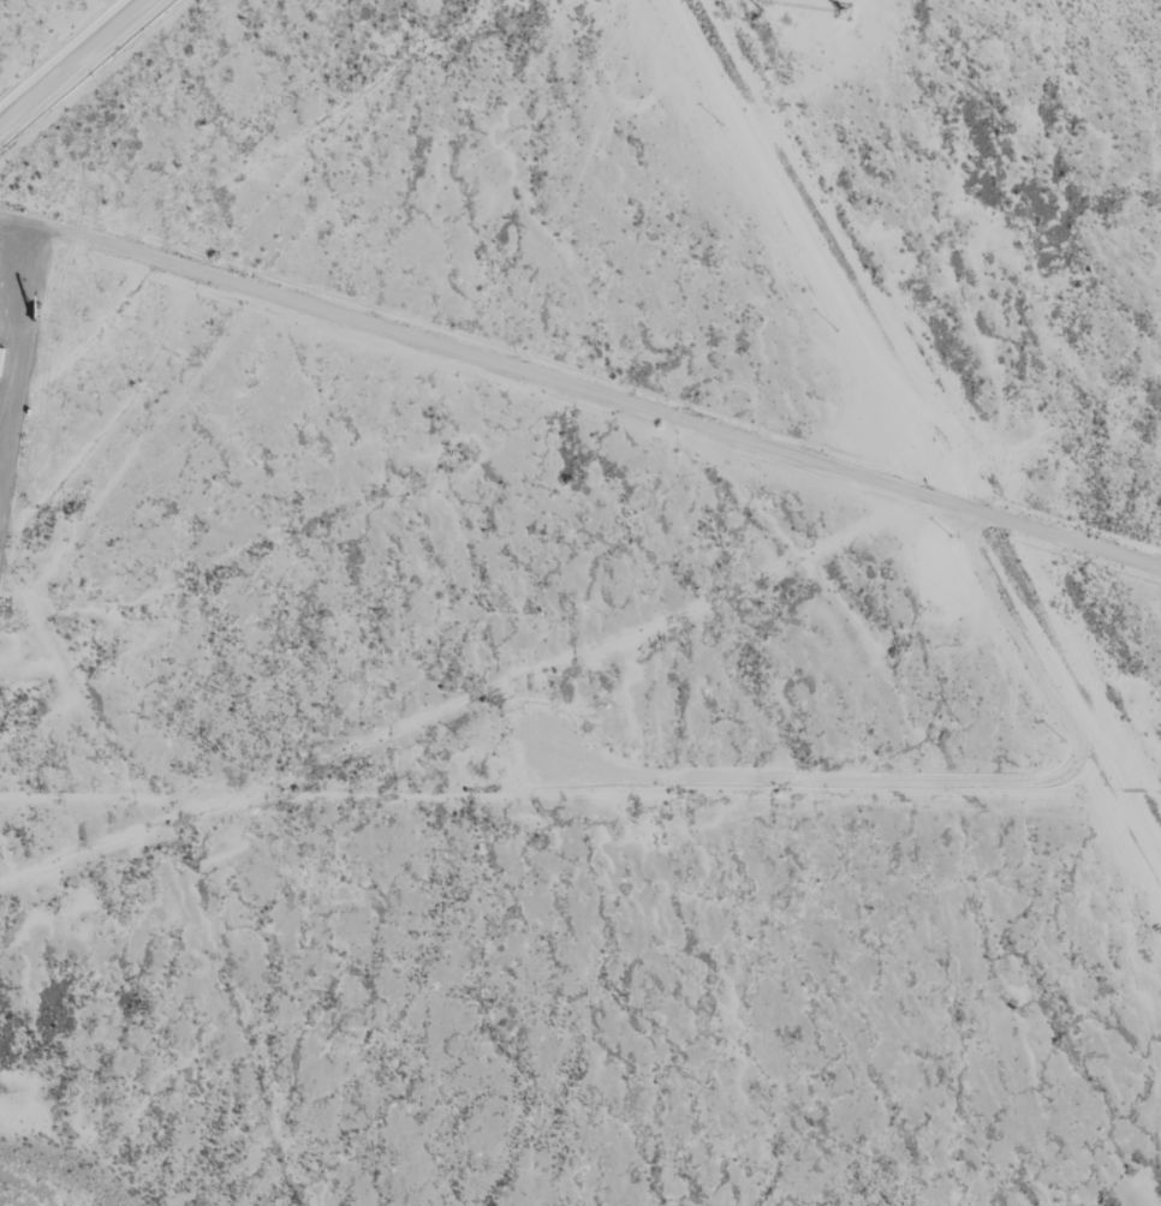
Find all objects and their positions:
road: (70, 60)
road: (580, 394)
road: (924, 398)

